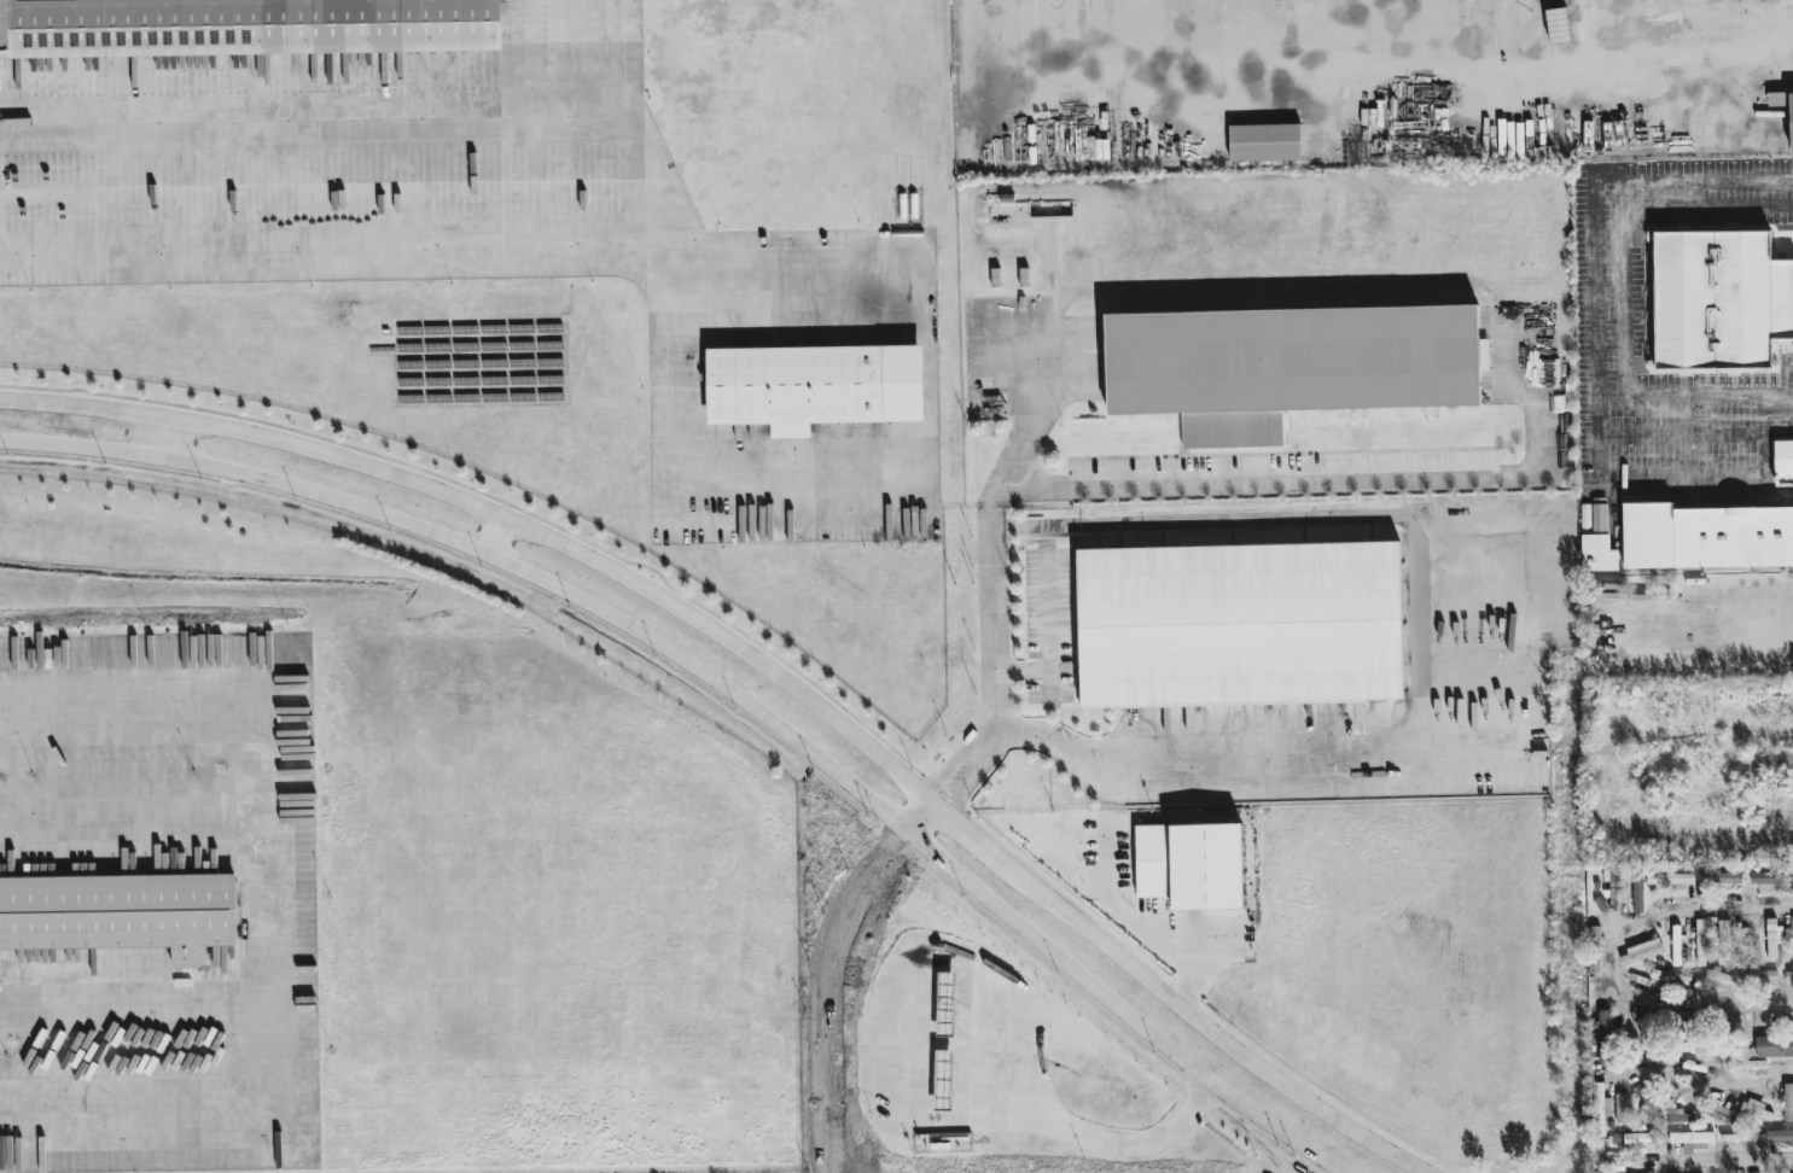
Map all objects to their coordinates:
building: (243, 27)
road: (633, 63)
road: (1384, 76)
road: (490, 126)
building: (1791, 128)
building: (1265, 142)
road: (1596, 186)
road: (322, 243)
road: (1625, 284)
building: (1719, 299)
building: (1290, 364)
building: (815, 386)
road: (1776, 399)
road: (1680, 433)
road: (1690, 434)
road: (162, 436)
building: (1782, 462)
road: (1682, 475)
road: (1337, 480)
road: (819, 482)
road: (1387, 513)
road: (1044, 525)
road: (1772, 526)
road: (497, 536)
building: (1706, 536)
building: (1596, 537)
road: (989, 554)
building: (1240, 624)
road: (1754, 643)
building: (0, 655)
road: (774, 671)
road: (730, 690)
road: (802, 717)
road: (1177, 764)
road: (922, 815)
road: (126, 827)
building: (1192, 864)
building: (1721, 877)
building: (1670, 879)
building: (1771, 880)
building: (1792, 889)
road: (250, 900)
building: (121, 914)
building: (1792, 923)
road: (1139, 927)
building: (1748, 936)
building: (1772, 936)
building: (1724, 939)
building: (1701, 943)
building: (1676, 945)
building: (1594, 949)
building: (1641, 952)
road: (1613, 958)
building: (1758, 975)
building: (1788, 975)
building: (1670, 977)
road: (825, 988)
building: (945, 999)
road: (124, 1000)
road: (1791, 1002)
building: (1605, 1035)
building: (1774, 1045)
building: (1748, 1066)
road: (1700, 1089)
building: (1788, 1102)
building: (1757, 1108)
building: (1600, 1109)
building: (1673, 1113)
building: (1779, 1134)
building: (1692, 1137)
building: (1740, 1138)
building: (1643, 1139)
road: (1116, 1140)
road: (1724, 1162)

